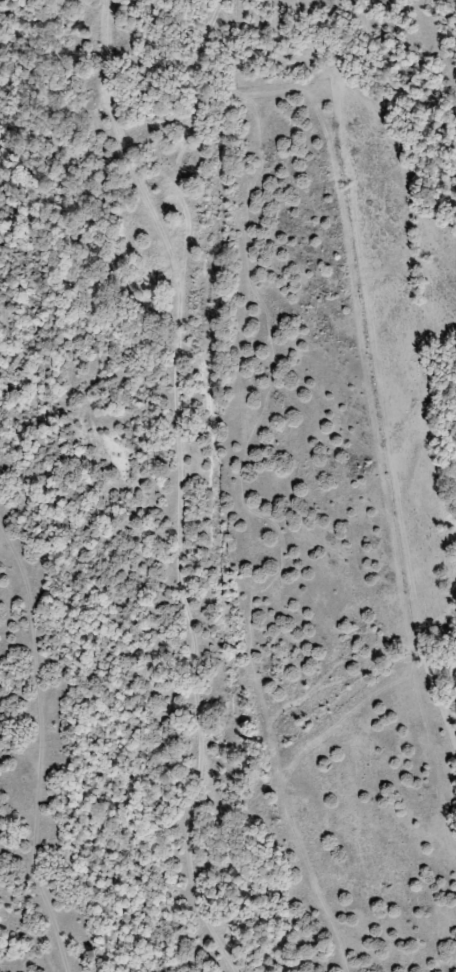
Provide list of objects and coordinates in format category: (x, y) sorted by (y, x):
road: (179, 486)
road: (32, 490)

